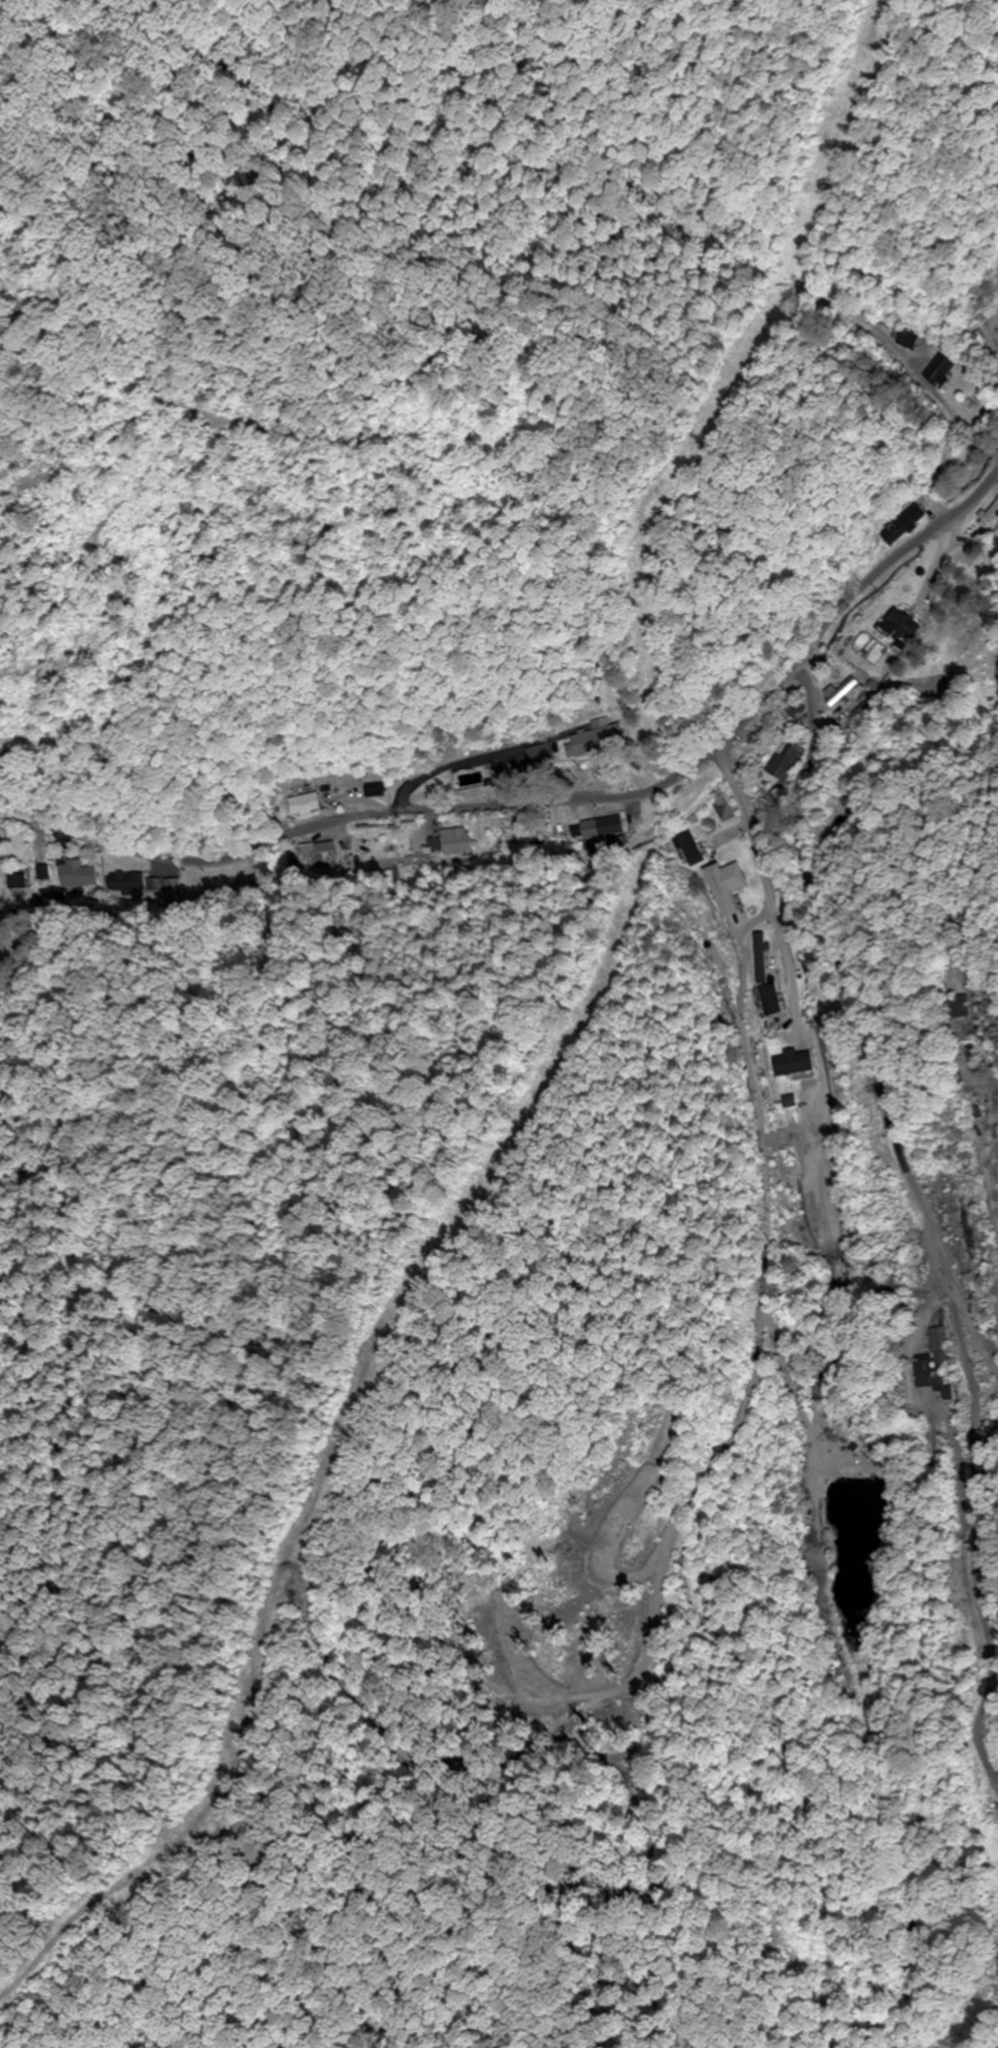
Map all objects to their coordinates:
road: (898, 557)
building: (899, 627)
building: (791, 714)
building: (591, 742)
building: (548, 755)
building: (785, 763)
building: (503, 764)
building: (379, 791)
building: (307, 805)
road: (413, 805)
building: (563, 825)
building: (609, 828)
building: (453, 841)
road: (754, 846)
building: (45, 875)
building: (18, 885)
building: (720, 887)
building: (768, 1001)
building: (957, 1008)
building: (793, 1062)
road: (931, 1216)
building: (814, 1217)
building: (935, 1362)

